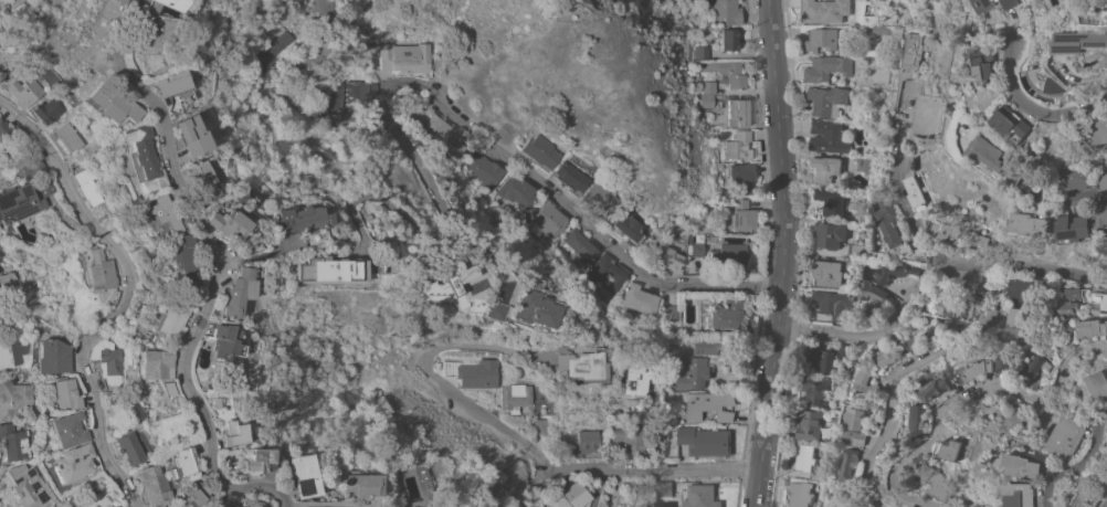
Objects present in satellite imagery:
building: (164, 4)
building: (998, 4)
building: (102, 9)
building: (825, 11)
building: (723, 12)
building: (867, 30)
building: (879, 30)
building: (147, 32)
building: (728, 39)
building: (821, 40)
building: (1083, 42)
road: (368, 44)
building: (275, 45)
building: (703, 52)
building: (911, 52)
building: (405, 56)
building: (989, 62)
building: (257, 63)
building: (827, 67)
building: (727, 73)
building: (165, 83)
building: (709, 87)
building: (21, 93)
building: (350, 96)
building: (827, 101)
building: (707, 102)
building: (107, 103)
road: (1035, 103)
building: (44, 112)
building: (738, 113)
building: (903, 120)
building: (1020, 126)
building: (1103, 127)
building: (4, 133)
building: (440, 133)
building: (873, 134)
building: (187, 135)
building: (63, 137)
building: (827, 137)
road: (403, 144)
building: (738, 147)
building: (136, 152)
building: (540, 152)
building: (991, 157)
building: (71, 161)
building: (864, 165)
building: (825, 169)
building: (484, 171)
building: (1080, 173)
building: (741, 176)
building: (571, 178)
building: (198, 179)
building: (1105, 179)
building: (850, 184)
building: (86, 186)
building: (44, 187)
building: (516, 192)
building: (915, 192)
road: (1078, 196)
road: (378, 200)
building: (599, 200)
building: (20, 201)
building: (831, 201)
building: (1103, 213)
building: (159, 215)
building: (740, 215)
building: (863, 216)
building: (547, 218)
building: (222, 223)
building: (295, 223)
road: (588, 224)
building: (1032, 224)
building: (626, 225)
building: (889, 228)
building: (1075, 229)
building: (962, 233)
building: (830, 234)
building: (579, 244)
building: (696, 249)
building: (853, 250)
building: (732, 254)
road: (780, 254)
building: (665, 256)
building: (179, 258)
road: (966, 262)
building: (852, 264)
building: (98, 267)
building: (324, 271)
building: (894, 272)
road: (205, 273)
building: (607, 273)
building: (827, 273)
building: (8, 278)
building: (445, 283)
building: (1021, 289)
building: (872, 292)
building: (232, 293)
building: (1072, 293)
building: (1084, 293)
road: (122, 298)
building: (113, 299)
building: (434, 299)
building: (639, 300)
road: (992, 300)
building: (1098, 300)
building: (832, 304)
building: (1065, 307)
building: (945, 308)
building: (491, 309)
building: (528, 310)
building: (668, 313)
building: (1, 314)
building: (726, 314)
building: (1023, 316)
building: (169, 317)
building: (1092, 328)
building: (1015, 332)
building: (219, 340)
building: (706, 347)
building: (53, 356)
building: (4, 357)
building: (827, 358)
building: (105, 360)
building: (152, 362)
building: (1003, 365)
building: (580, 366)
building: (1034, 367)
building: (973, 371)
building: (871, 372)
building: (692, 373)
road: (432, 374)
building: (472, 374)
building: (633, 377)
building: (1099, 384)
building: (938, 388)
building: (814, 390)
road: (970, 391)
building: (64, 392)
building: (514, 397)
building: (15, 401)
building: (632, 405)
building: (708, 405)
building: (913, 423)
building: (808, 424)
building: (539, 426)
building: (855, 426)
building: (68, 429)
building: (232, 434)
building: (1067, 436)
building: (626, 441)
building: (705, 441)
building: (13, 442)
building: (582, 442)
building: (127, 447)
building: (949, 448)
building: (802, 457)
building: (260, 461)
building: (73, 463)
building: (183, 464)
road: (1082, 465)
building: (1023, 466)
road: (640, 468)
building: (850, 468)
building: (301, 475)
building: (814, 477)
building: (1, 480)
building: (936, 482)
building: (28, 485)
building: (154, 485)
building: (359, 485)
road: (595, 487)
building: (202, 489)
building: (664, 489)
building: (799, 494)
building: (1020, 494)
building: (569, 496)
building: (700, 496)
building: (1095, 497)
building: (192, 498)
building: (255, 504)
road: (329, 504)
building: (428, 505)
building: (412, 506)

